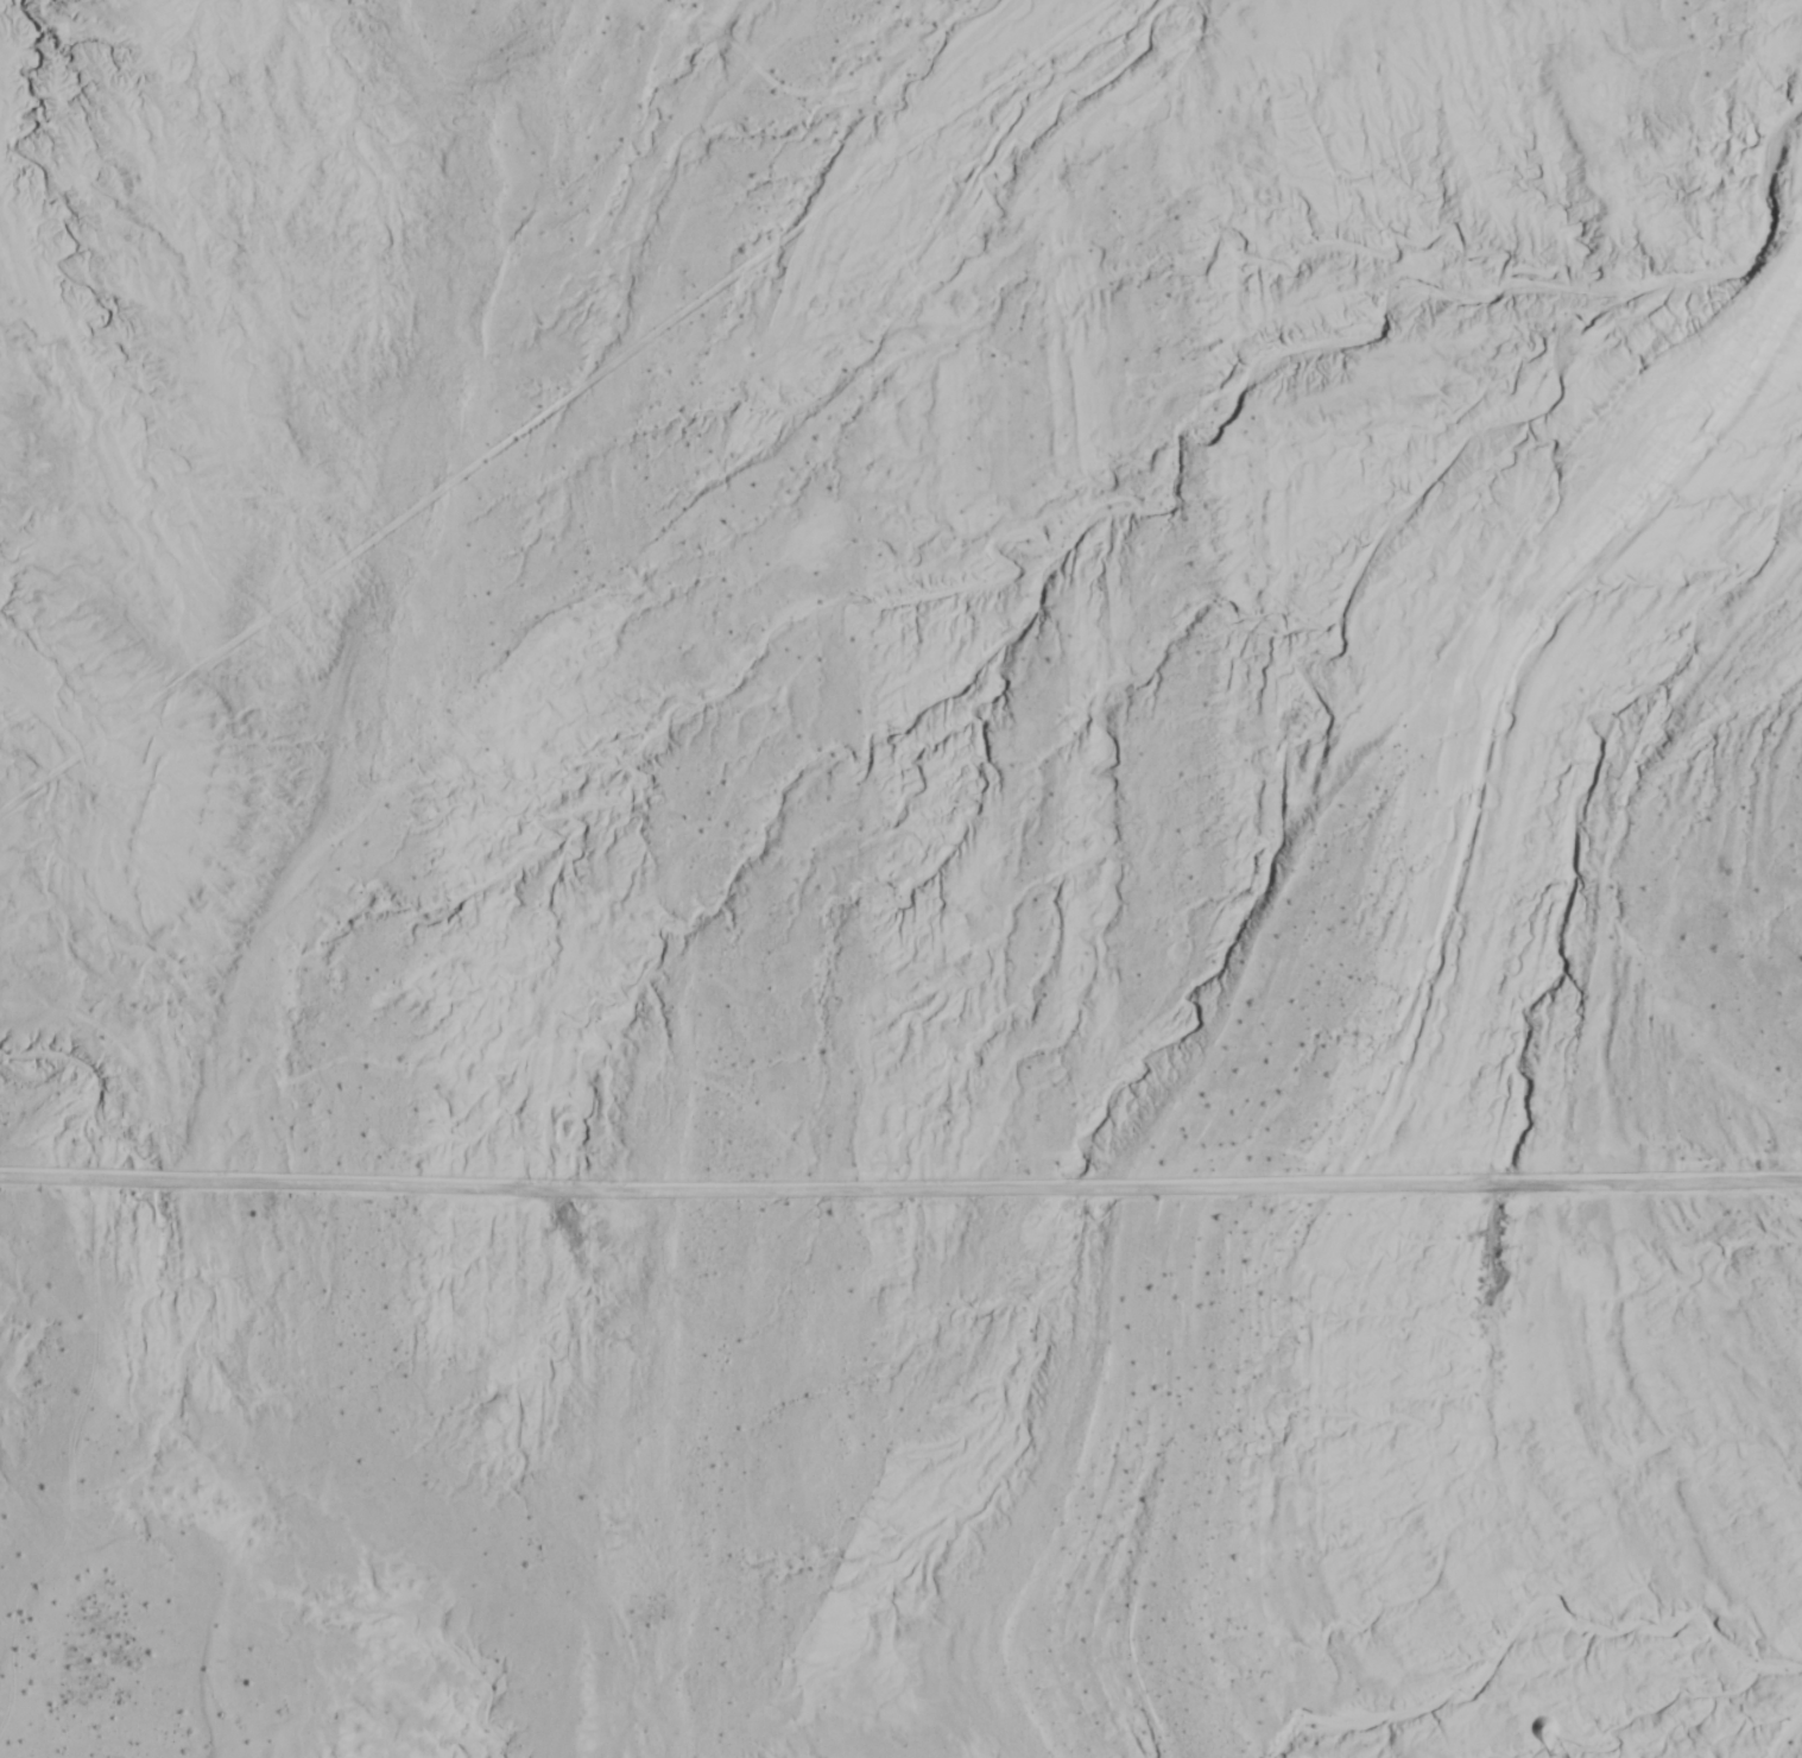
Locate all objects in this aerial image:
landfill: (897, 1469)

